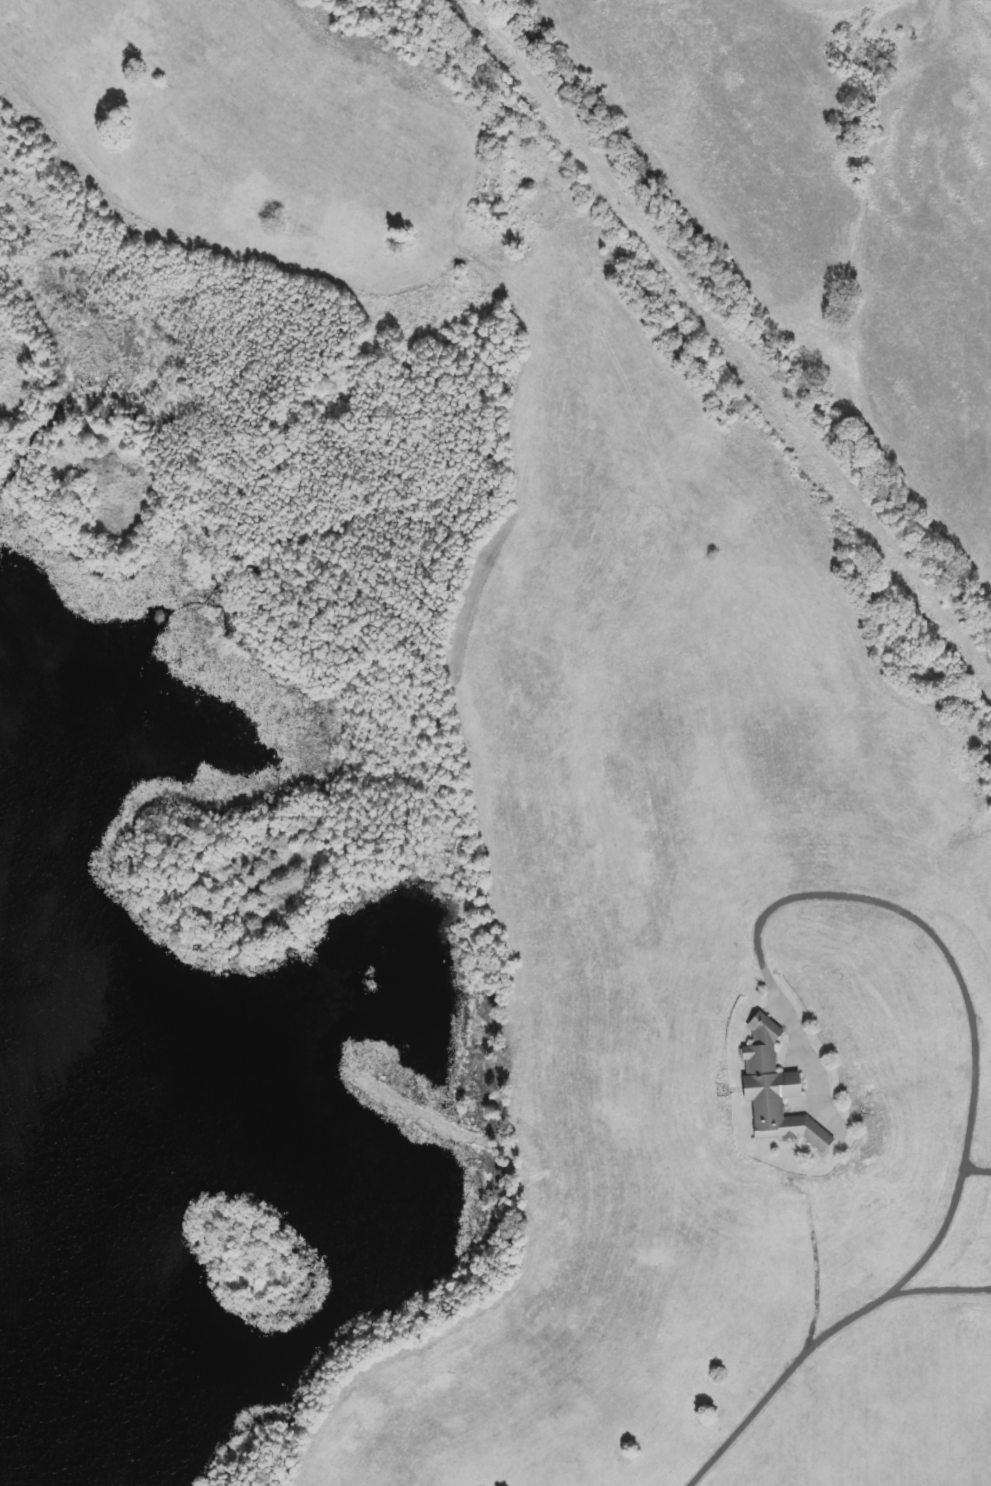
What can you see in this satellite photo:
building: (776, 1089)

